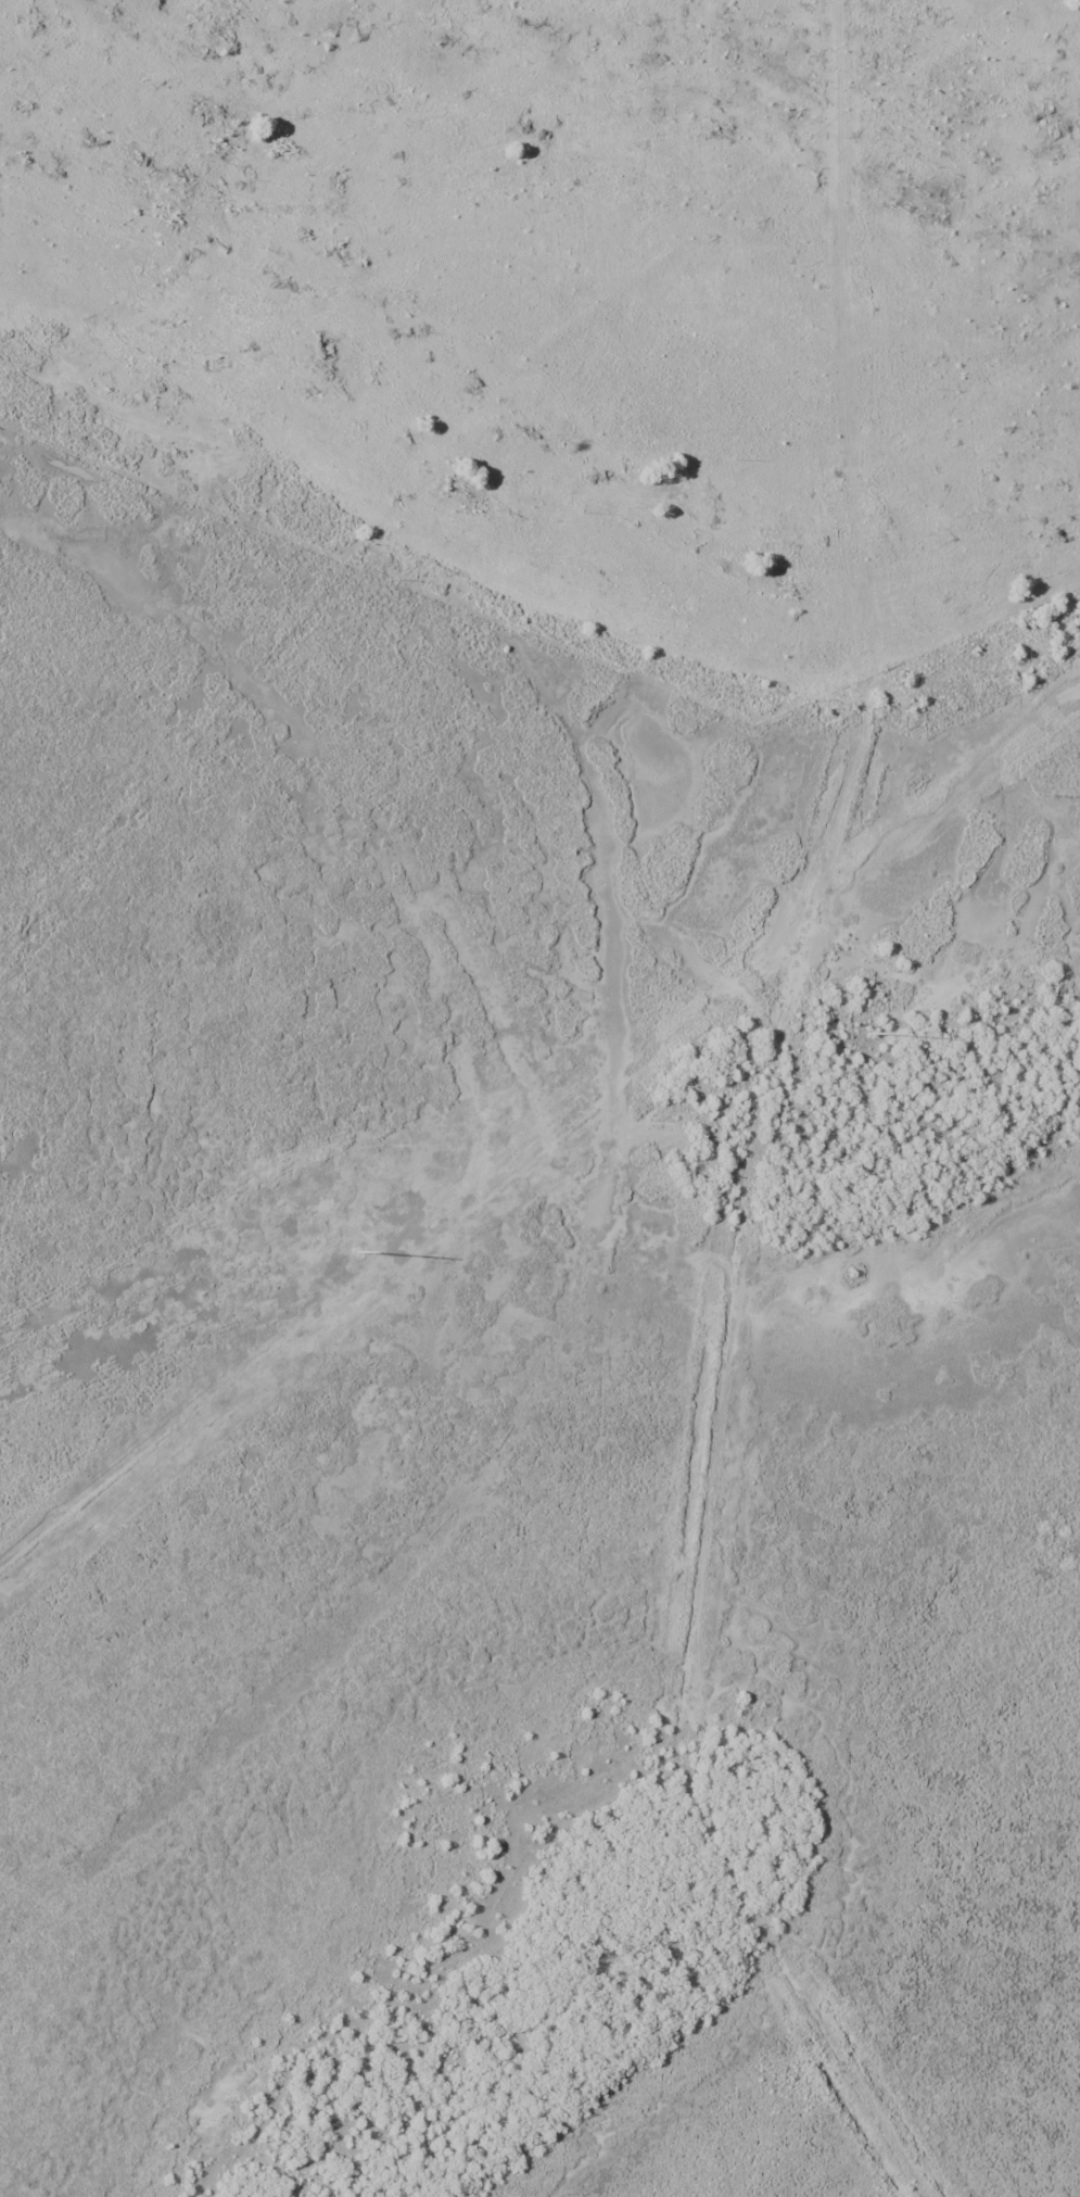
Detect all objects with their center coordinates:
power tower: (866, 1033)
power tower: (355, 1250)

